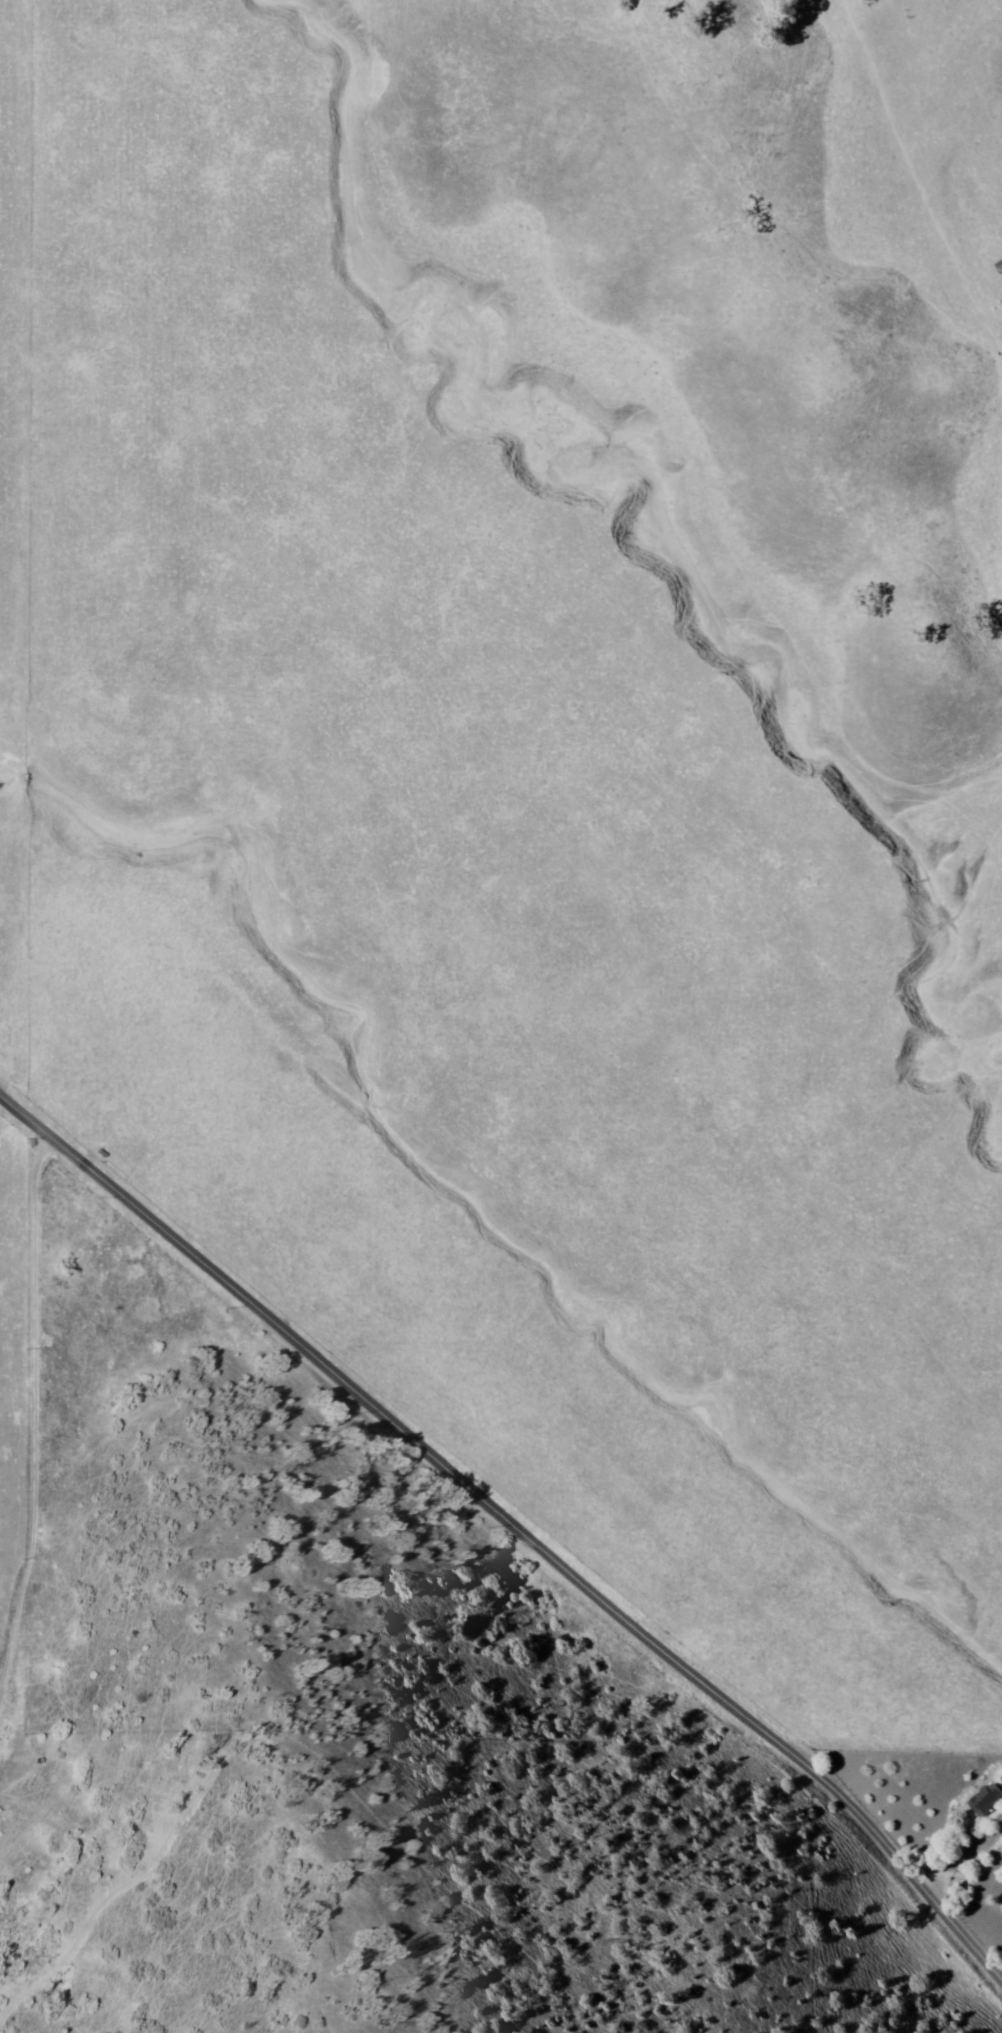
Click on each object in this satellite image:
crop: (470, 913)
crop: (11, 1360)
road: (32, 1408)
road: (514, 1524)
building: (981, 1799)

